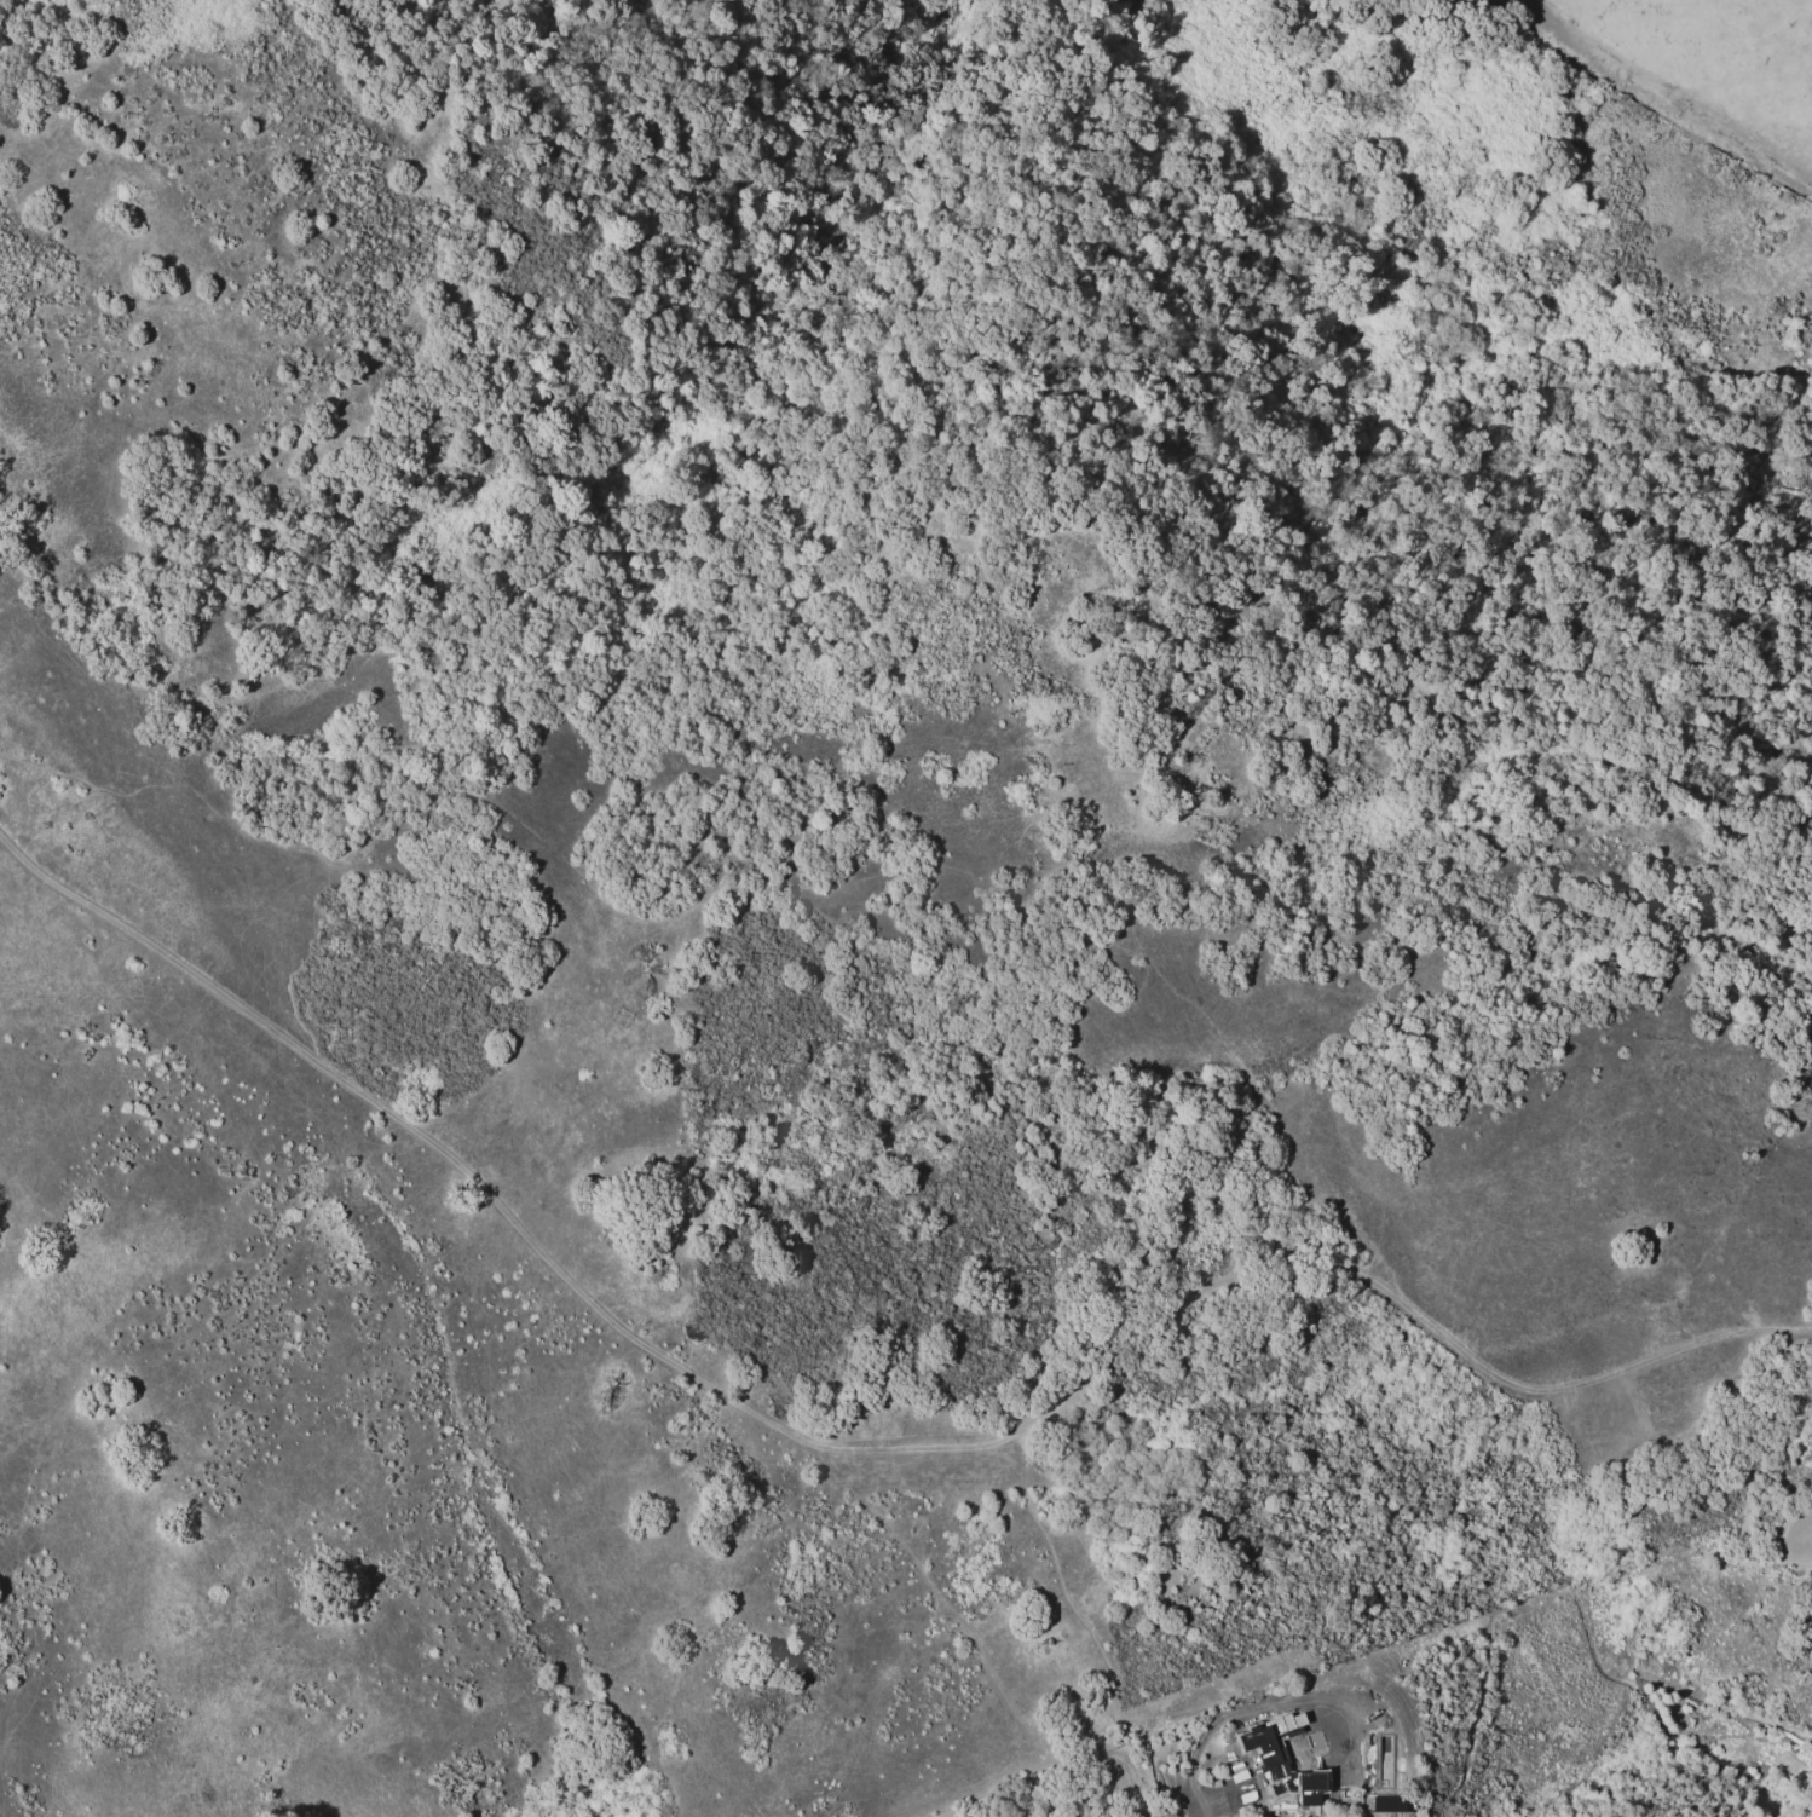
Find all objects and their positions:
road: (720, 894)
road: (490, 1198)
road: (1236, 1275)
road: (947, 1604)
road: (1581, 1605)
building: (1280, 1763)
road: (1056, 1773)

